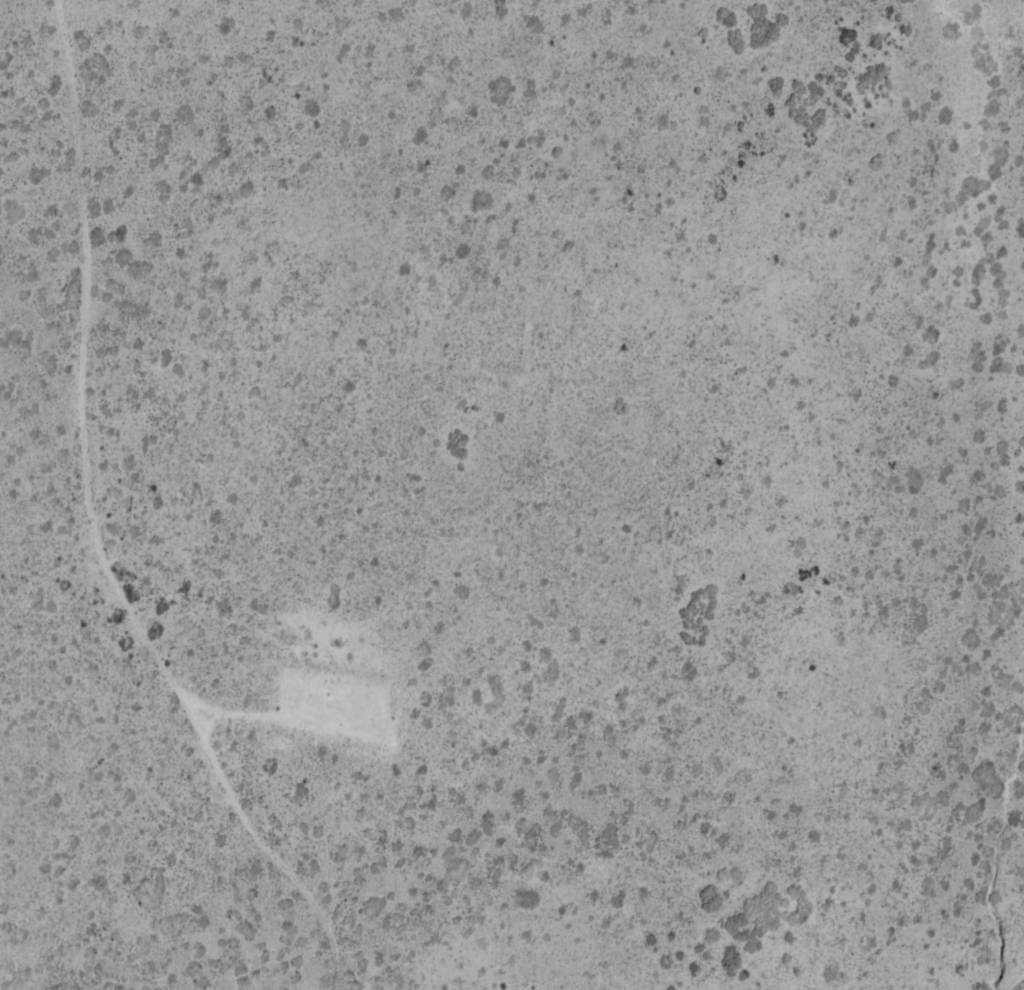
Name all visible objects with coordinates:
road: (86, 527)

